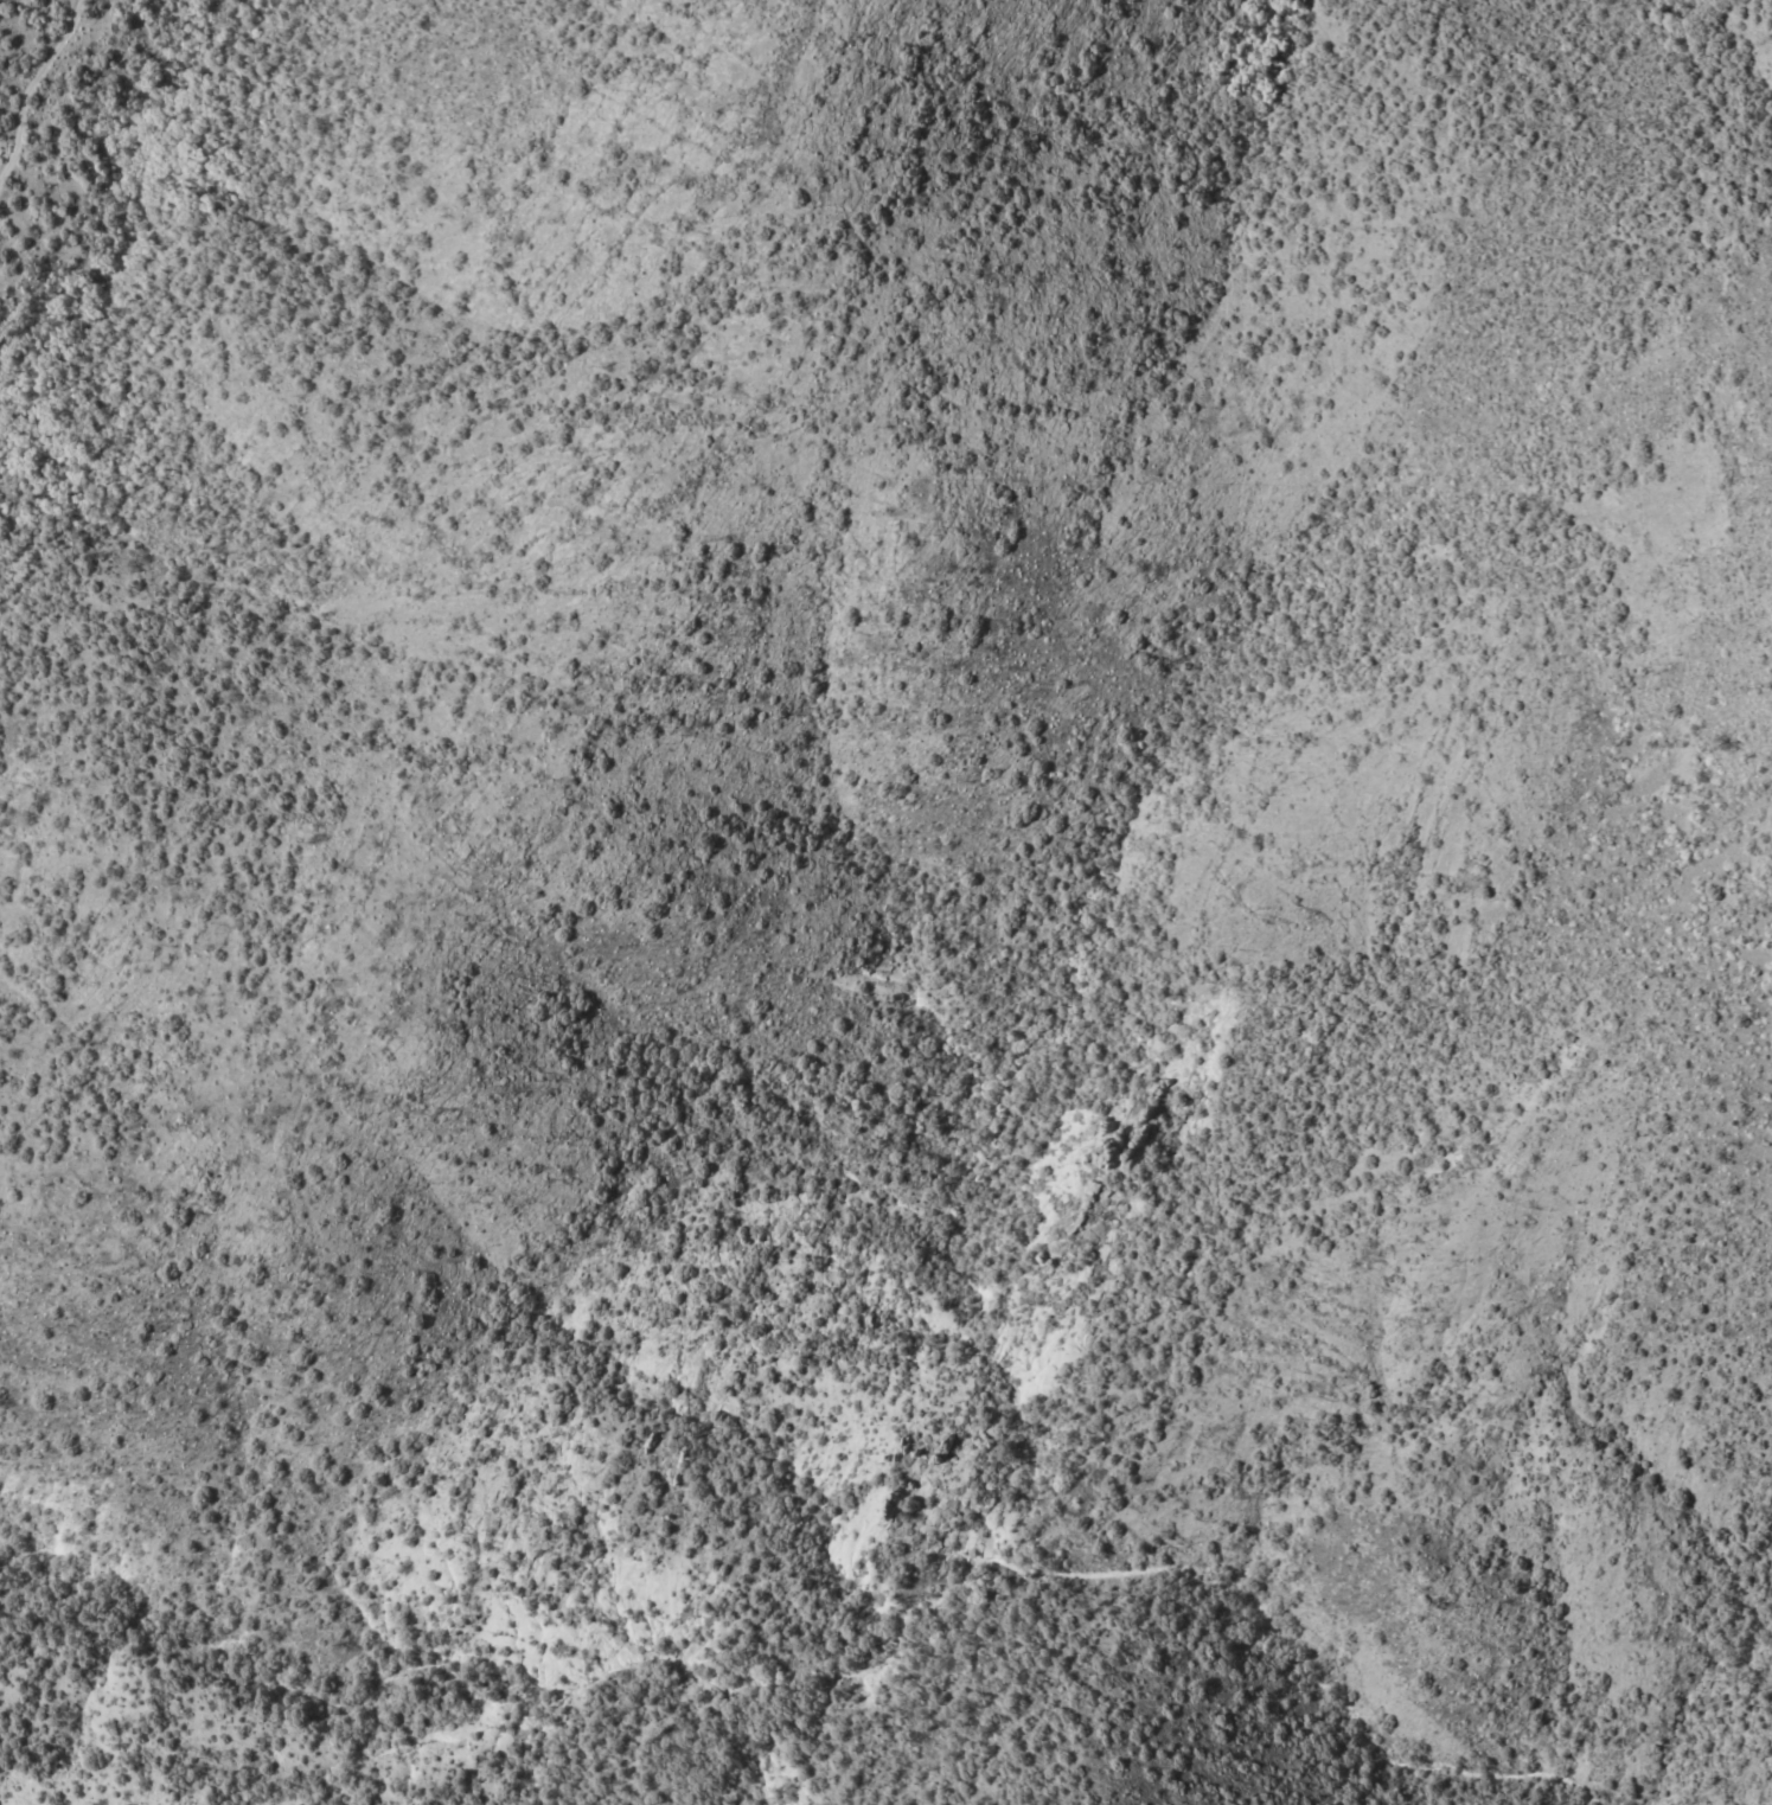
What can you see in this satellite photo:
road: (26, 75)

